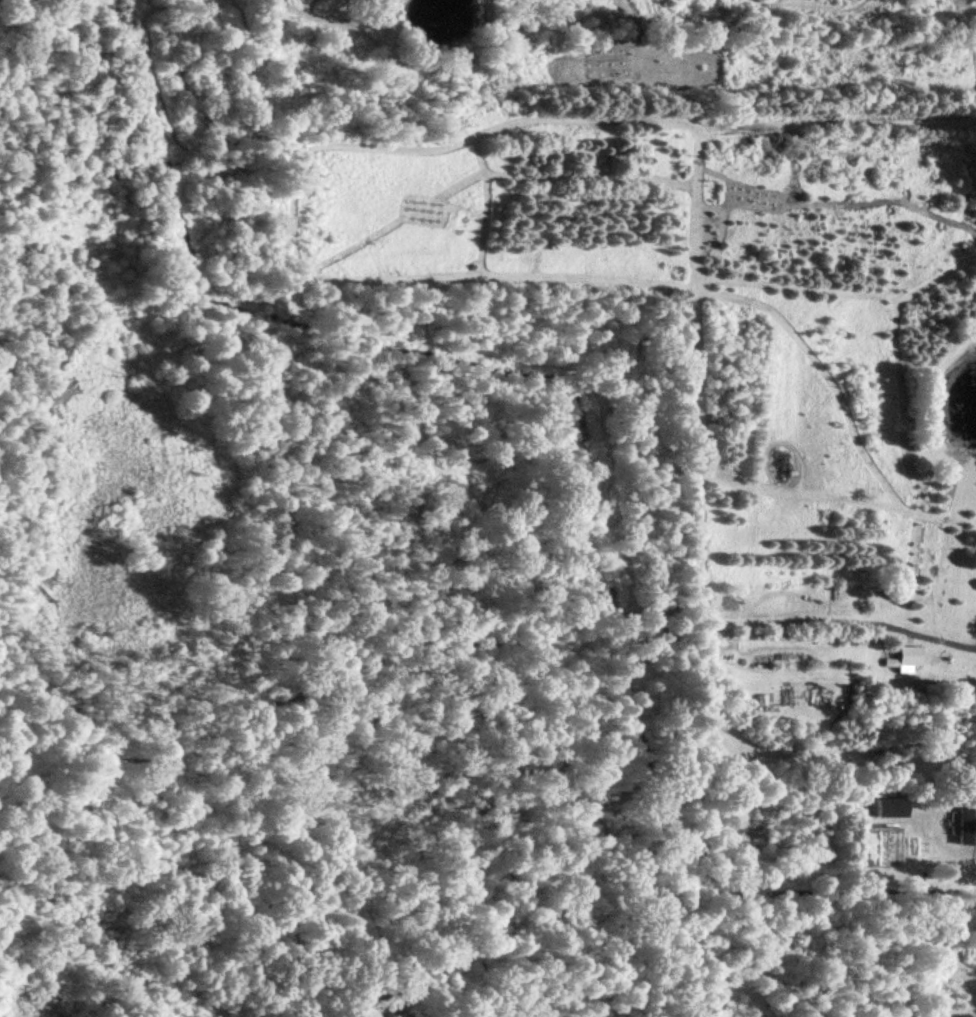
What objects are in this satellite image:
building: (901, 658)
building: (886, 806)

